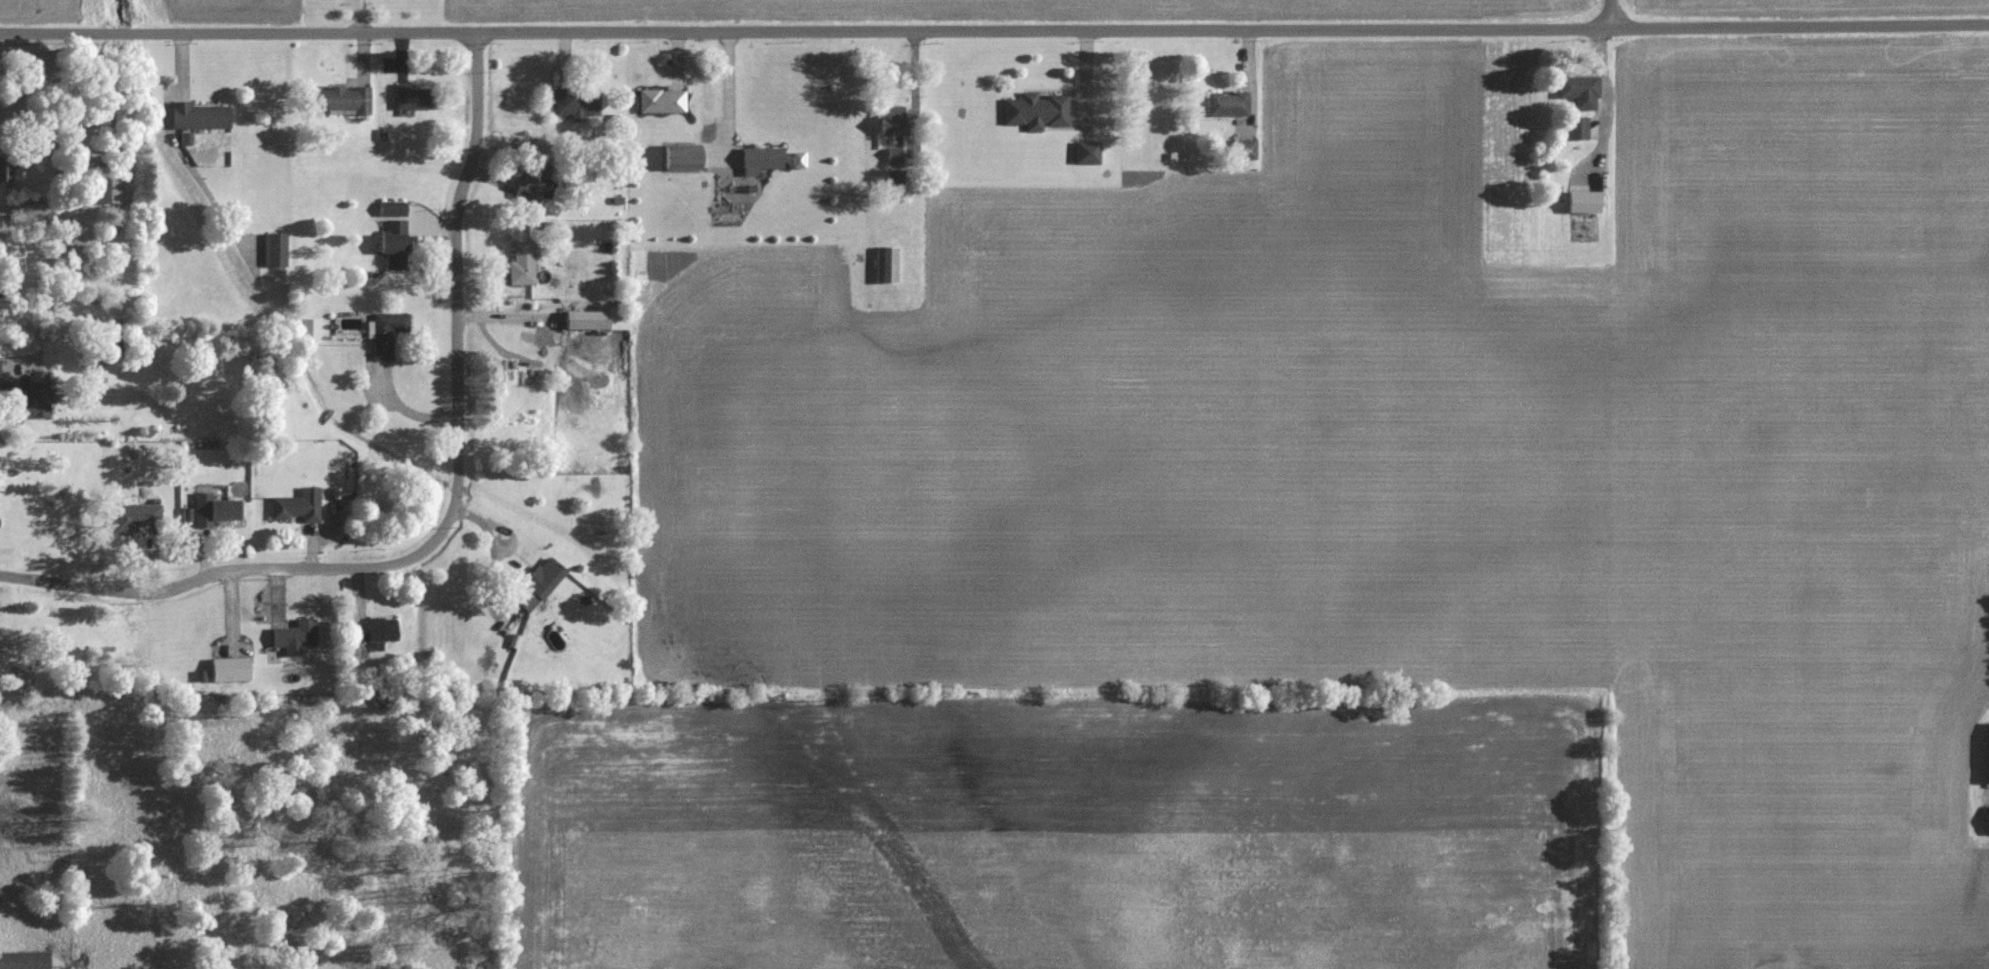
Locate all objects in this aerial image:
road: (1611, 14)
road: (359, 16)
road: (994, 31)
road: (727, 90)
building: (1581, 92)
building: (414, 98)
building: (342, 101)
building: (663, 101)
building: (576, 104)
building: (1228, 105)
building: (1037, 111)
building: (200, 117)
building: (893, 124)
building: (1579, 129)
building: (1246, 150)
building: (1088, 153)
building: (764, 158)
building: (684, 160)
building: (895, 167)
building: (11, 171)
building: (535, 183)
building: (107, 184)
road: (24, 205)
building: (393, 209)
building: (1585, 217)
building: (72, 238)
building: (396, 244)
building: (275, 250)
building: (0, 263)
building: (523, 264)
building: (887, 264)
building: (598, 321)
building: (310, 331)
building: (388, 333)
road: (7, 377)
building: (36, 399)
building: (295, 510)
building: (217, 511)
road: (453, 511)
building: (138, 518)
building: (539, 585)
building: (375, 630)
building: (295, 638)
building: (21, 681)
building: (1986, 752)
building: (25, 961)

